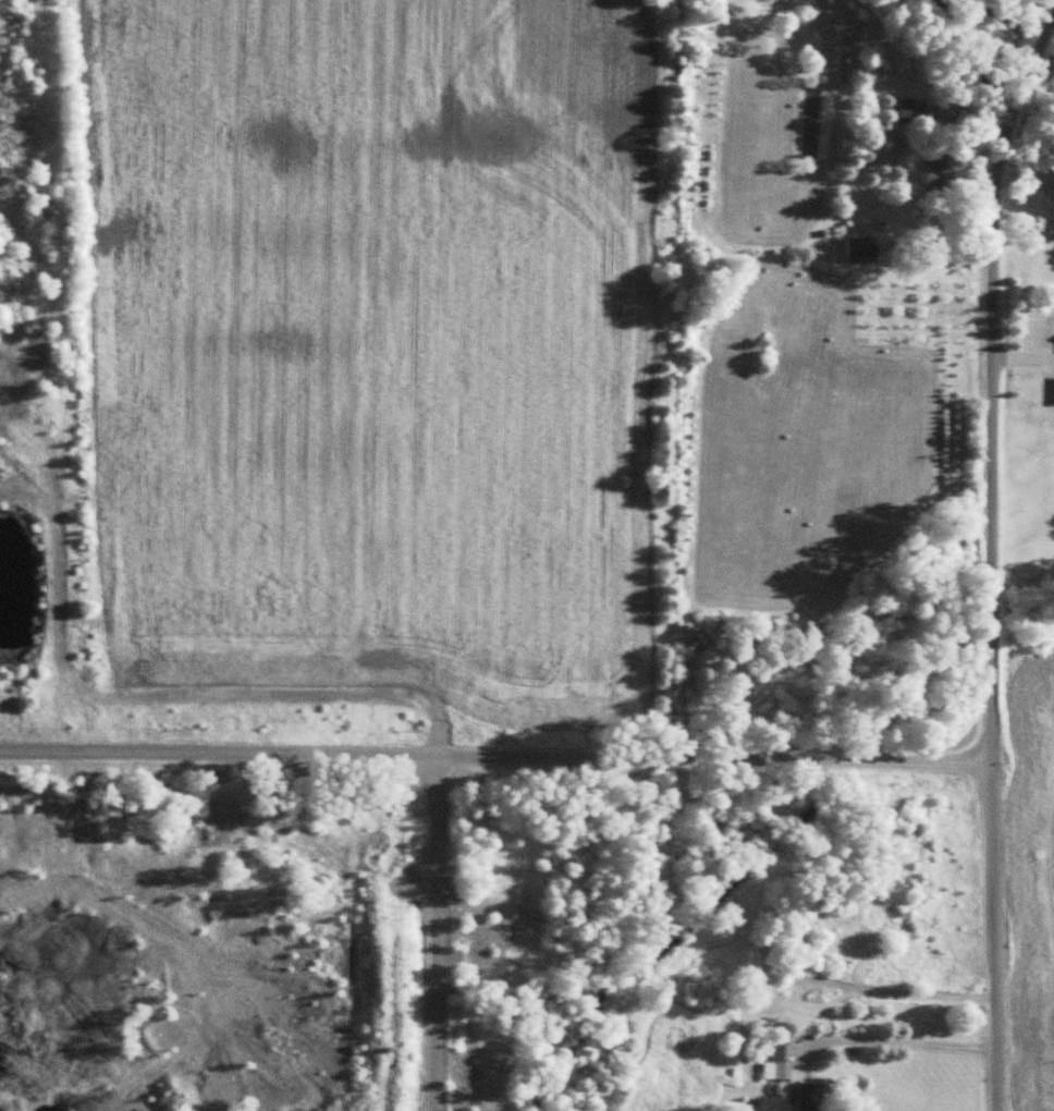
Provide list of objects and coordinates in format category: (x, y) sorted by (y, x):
building: (915, 109)
building: (940, 169)
road: (990, 553)
road: (497, 759)
road: (440, 933)
building: (795, 938)
building: (703, 991)
road: (902, 1039)
building: (776, 1058)
building: (812, 1096)

